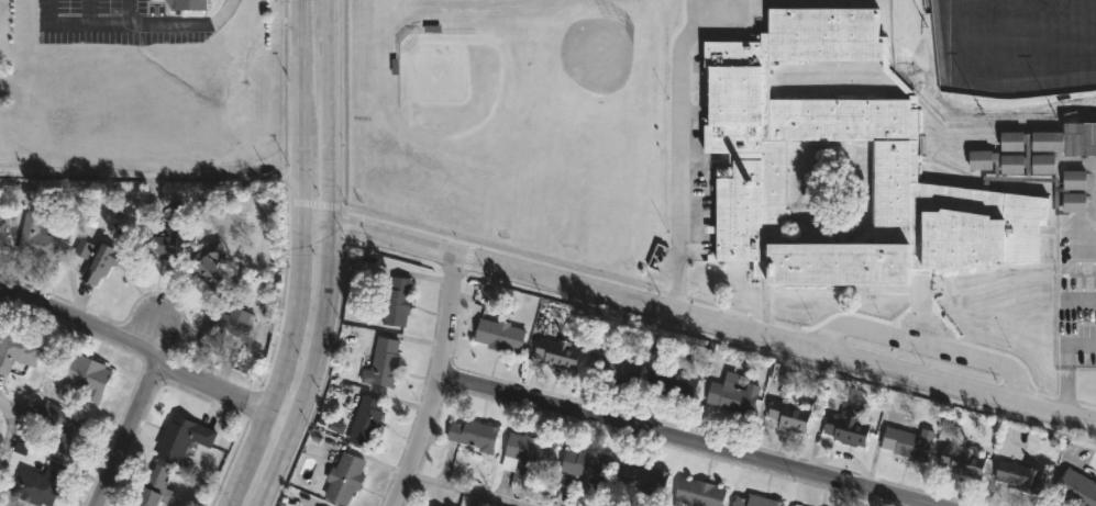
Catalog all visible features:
building: (187, 4)
road: (177, 26)
park: (1012, 49)
road: (302, 105)
road: (332, 110)
building: (746, 146)
road: (682, 169)
road: (151, 177)
road: (319, 216)
building: (2, 234)
building: (36, 239)
building: (160, 244)
building: (82, 248)
building: (100, 262)
building: (209, 263)
building: (397, 301)
road: (716, 321)
building: (221, 330)
building: (502, 334)
road: (931, 345)
building: (16, 347)
road: (150, 349)
building: (557, 351)
building: (383, 361)
road: (283, 363)
road: (1064, 366)
road: (313, 367)
building: (616, 370)
building: (86, 373)
road: (439, 382)
building: (674, 382)
building: (839, 386)
building: (734, 396)
building: (790, 413)
building: (366, 419)
building: (848, 424)
building: (64, 425)
road: (130, 432)
road: (11, 434)
building: (474, 435)
building: (180, 437)
road: (677, 441)
building: (909, 441)
building: (528, 451)
building: (963, 460)
building: (587, 465)
building: (345, 475)
building: (1022, 475)
building: (644, 476)
building: (38, 482)
building: (153, 487)
road: (468, 488)
building: (1076, 488)
building: (698, 493)
building: (756, 501)
building: (432, 505)
building: (795, 505)

